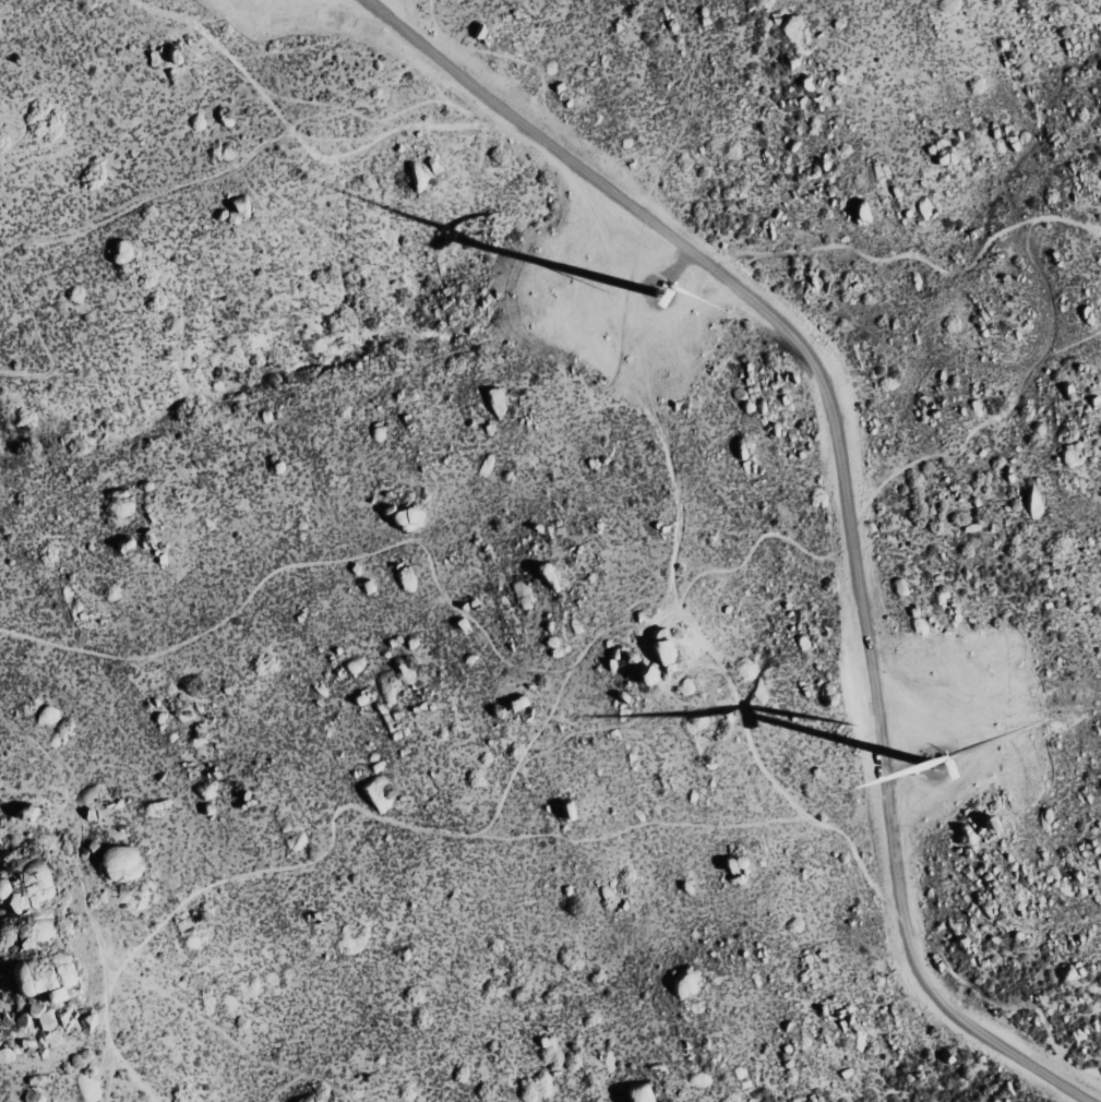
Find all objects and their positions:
building: (801, 35)
road: (1, 38)
building: (172, 53)
building: (946, 158)
building: (240, 205)
building: (861, 211)
wind turbine: (655, 290)
road: (38, 333)
road: (845, 490)
building: (407, 518)
building: (123, 544)
building: (547, 576)
building: (406, 578)
building: (367, 585)
building: (899, 586)
building: (660, 650)
building: (645, 675)
building: (515, 702)
wind turbine: (942, 766)
building: (154, 808)
building: (567, 810)
building: (23, 812)
building: (298, 841)
building: (120, 863)
building: (734, 863)
building: (39, 975)
building: (89, 1021)
building: (46, 1022)
road: (308, 1071)
building: (638, 1093)

